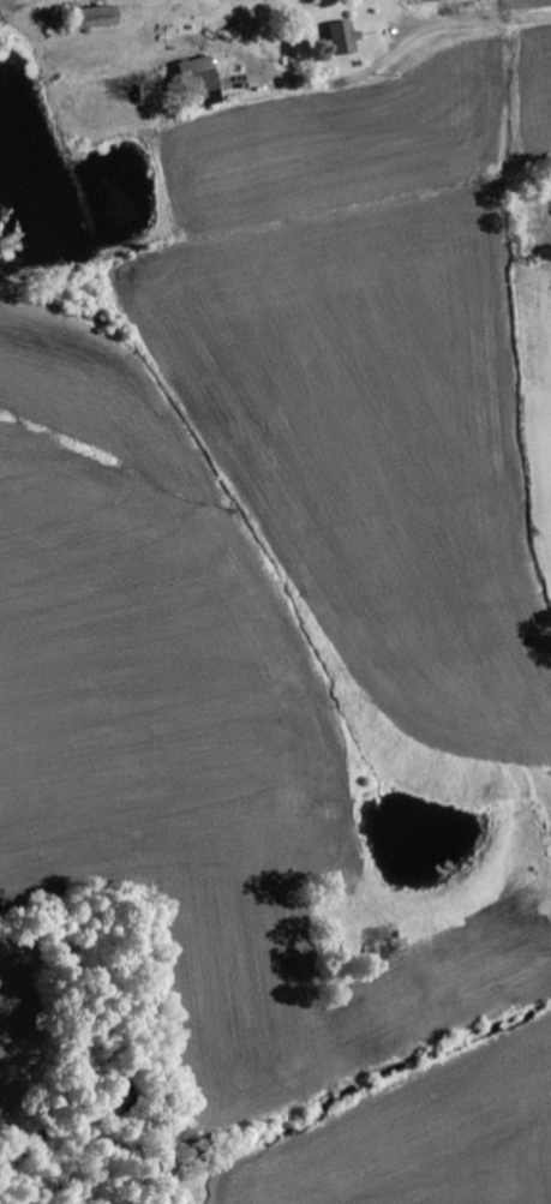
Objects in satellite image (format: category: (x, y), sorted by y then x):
building: (98, 18)
road: (477, 18)
building: (345, 40)
building: (203, 83)

